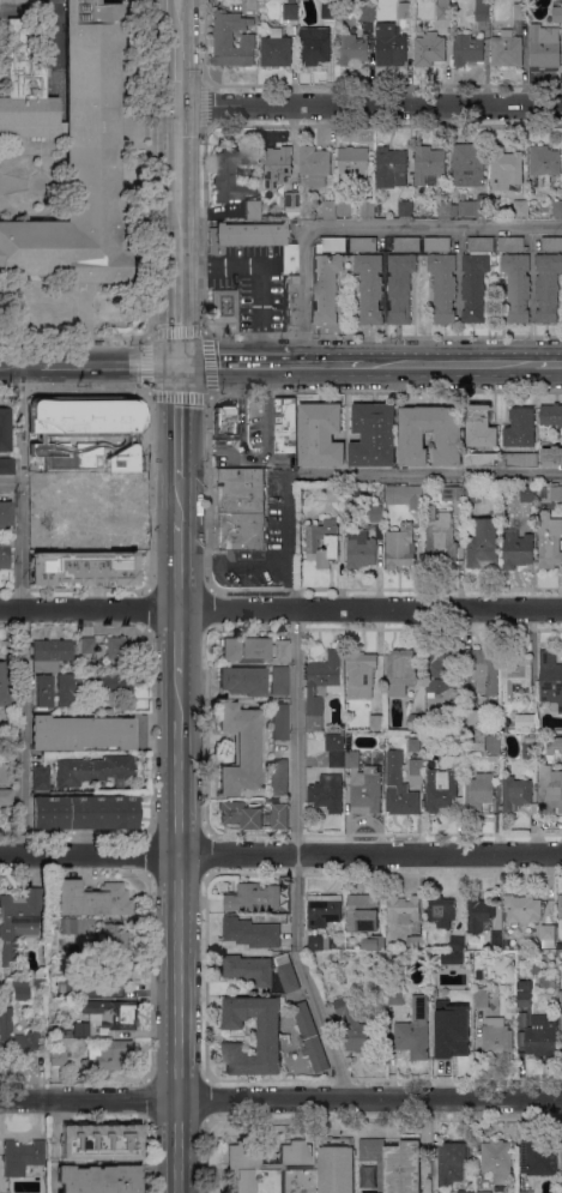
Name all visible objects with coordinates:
building: (12, 1)
building: (32, 2)
building: (252, 5)
building: (328, 10)
building: (405, 10)
building: (443, 10)
building: (482, 10)
building: (290, 11)
building: (521, 11)
building: (367, 13)
building: (557, 14)
road: (180, 18)
building: (232, 38)
building: (391, 46)
building: (545, 46)
building: (314, 47)
building: (467, 48)
building: (277, 49)
building: (351, 49)
building: (429, 49)
building: (507, 49)
road: (180, 70)
road: (370, 104)
building: (70, 147)
building: (544, 159)
building: (353, 162)
building: (315, 164)
building: (429, 164)
building: (469, 164)
building: (274, 167)
building: (391, 167)
building: (504, 168)
building: (231, 173)
road: (18, 177)
road: (179, 177)
road: (18, 185)
building: (290, 199)
building: (521, 205)
building: (445, 206)
building: (472, 206)
building: (328, 207)
building: (346, 207)
building: (368, 207)
building: (405, 207)
building: (557, 207)
building: (252, 209)
building: (288, 215)
road: (368, 227)
road: (151, 242)
building: (407, 243)
building: (437, 243)
building: (512, 243)
building: (552, 243)
building: (330, 245)
building: (363, 245)
building: (289, 265)
road: (261, 273)
building: (476, 277)
building: (443, 285)
building: (518, 285)
building: (326, 287)
building: (370, 287)
building: (400, 287)
building: (548, 287)
building: (224, 305)
road: (177, 307)
road: (84, 309)
road: (382, 335)
road: (448, 363)
road: (548, 363)
road: (20, 364)
road: (109, 364)
traffic signals: (177, 364)
road: (234, 364)
road: (327, 364)
road: (209, 392)
building: (551, 415)
building: (226, 420)
road: (177, 421)
building: (285, 424)
building: (481, 426)
building: (93, 427)
building: (520, 428)
building: (5, 429)
building: (320, 434)
building: (374, 435)
building: (412, 440)
building: (140, 442)
building: (551, 456)
building: (479, 459)
building: (521, 459)
building: (7, 465)
road: (424, 474)
road: (10, 482)
road: (19, 487)
building: (119, 487)
building: (54, 488)
building: (356, 492)
building: (336, 493)
building: (453, 493)
building: (527, 493)
building: (556, 493)
building: (473, 494)
building: (405, 495)
road: (179, 499)
building: (241, 508)
building: (376, 512)
building: (5, 513)
building: (92, 529)
building: (441, 536)
road: (288, 541)
building: (549, 541)
building: (324, 542)
building: (483, 544)
building: (400, 546)
building: (361, 547)
building: (516, 548)
building: (5, 555)
road: (232, 562)
road: (177, 564)
building: (84, 567)
road: (280, 609)
road: (177, 641)
building: (87, 645)
building: (117, 647)
building: (255, 650)
building: (50, 653)
building: (516, 668)
building: (441, 669)
building: (400, 670)
building: (485, 670)
building: (361, 673)
building: (254, 680)
building: (550, 681)
building: (5, 682)
building: (90, 685)
building: (324, 686)
building: (43, 691)
building: (457, 707)
building: (476, 717)
building: (280, 721)
building: (377, 721)
building: (525, 721)
building: (416, 722)
road: (20, 731)
building: (80, 733)
building: (416, 745)
building: (453, 745)
building: (488, 745)
building: (554, 745)
building: (240, 748)
building: (336, 748)
building: (528, 751)
building: (351, 753)
road: (177, 764)
building: (417, 766)
building: (95, 770)
building: (6, 773)
building: (280, 776)
building: (41, 777)
building: (400, 788)
building: (441, 789)
building: (367, 790)
building: (549, 790)
building: (479, 791)
building: (328, 793)
building: (515, 794)
building: (6, 796)
building: (85, 812)
building: (254, 815)
road: (280, 851)
road: (296, 856)
building: (253, 897)
building: (92, 898)
building: (561, 906)
building: (324, 909)
building: (404, 909)
building: (522, 909)
building: (442, 910)
building: (363, 912)
building: (479, 914)
building: (18, 920)
building: (68, 926)
building: (252, 932)
building: (548, 935)
building: (113, 939)
building: (496, 939)
building: (415, 941)
building: (319, 942)
building: (374, 942)
building: (458, 944)
building: (449, 957)
building: (249, 969)
building: (533, 969)
building: (115, 972)
building: (286, 972)
building: (477, 974)
building: (40, 980)
building: (545, 982)
building: (68, 987)
building: (20, 989)
building: (524, 993)
building: (395, 994)
building: (439, 994)
building: (481, 998)
building: (561, 999)
building: (494, 1000)
building: (111, 1013)
building: (522, 1018)
road: (177, 1022)
building: (355, 1026)
building: (81, 1029)
building: (415, 1030)
building: (68, 1032)
building: (267, 1035)
building: (543, 1036)
building: (14, 1037)
building: (310, 1037)
building: (497, 1037)
building: (454, 1038)
building: (520, 1038)
building: (105, 1053)
building: (58, 1056)
road: (280, 1097)
building: (101, 1141)
building: (22, 1156)
building: (561, 1156)
building: (536, 1157)
building: (497, 1159)
building: (453, 1162)
building: (394, 1163)
building: (265, 1165)
building: (336, 1165)
building: (368, 1176)
building: (99, 1179)
building: (367, 1192)
building: (465, 1192)
building: (484, 1192)
building: (525, 1192)
building: (561, 1192)

